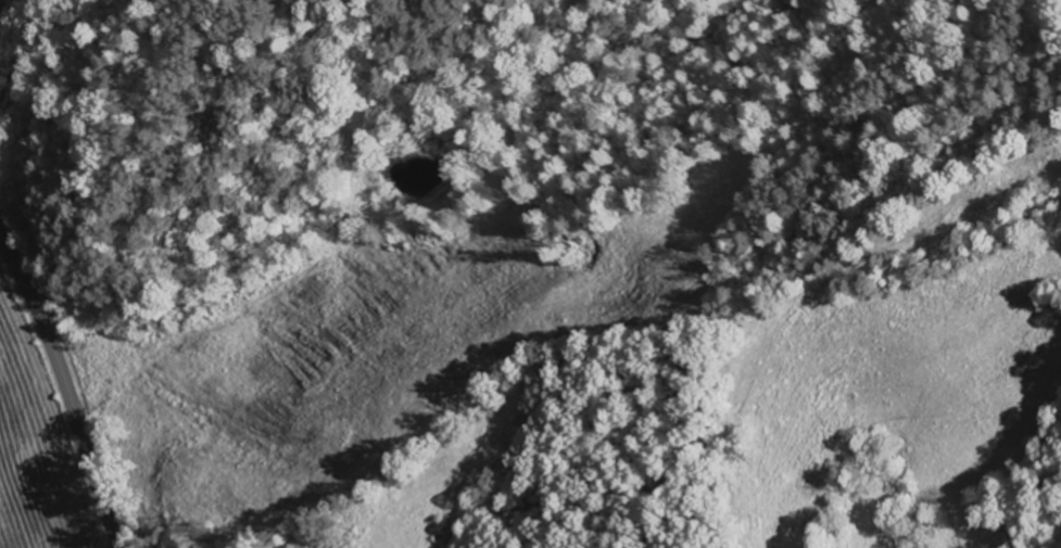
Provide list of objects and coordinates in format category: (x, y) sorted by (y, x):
road: (28, 61)
road: (66, 388)

